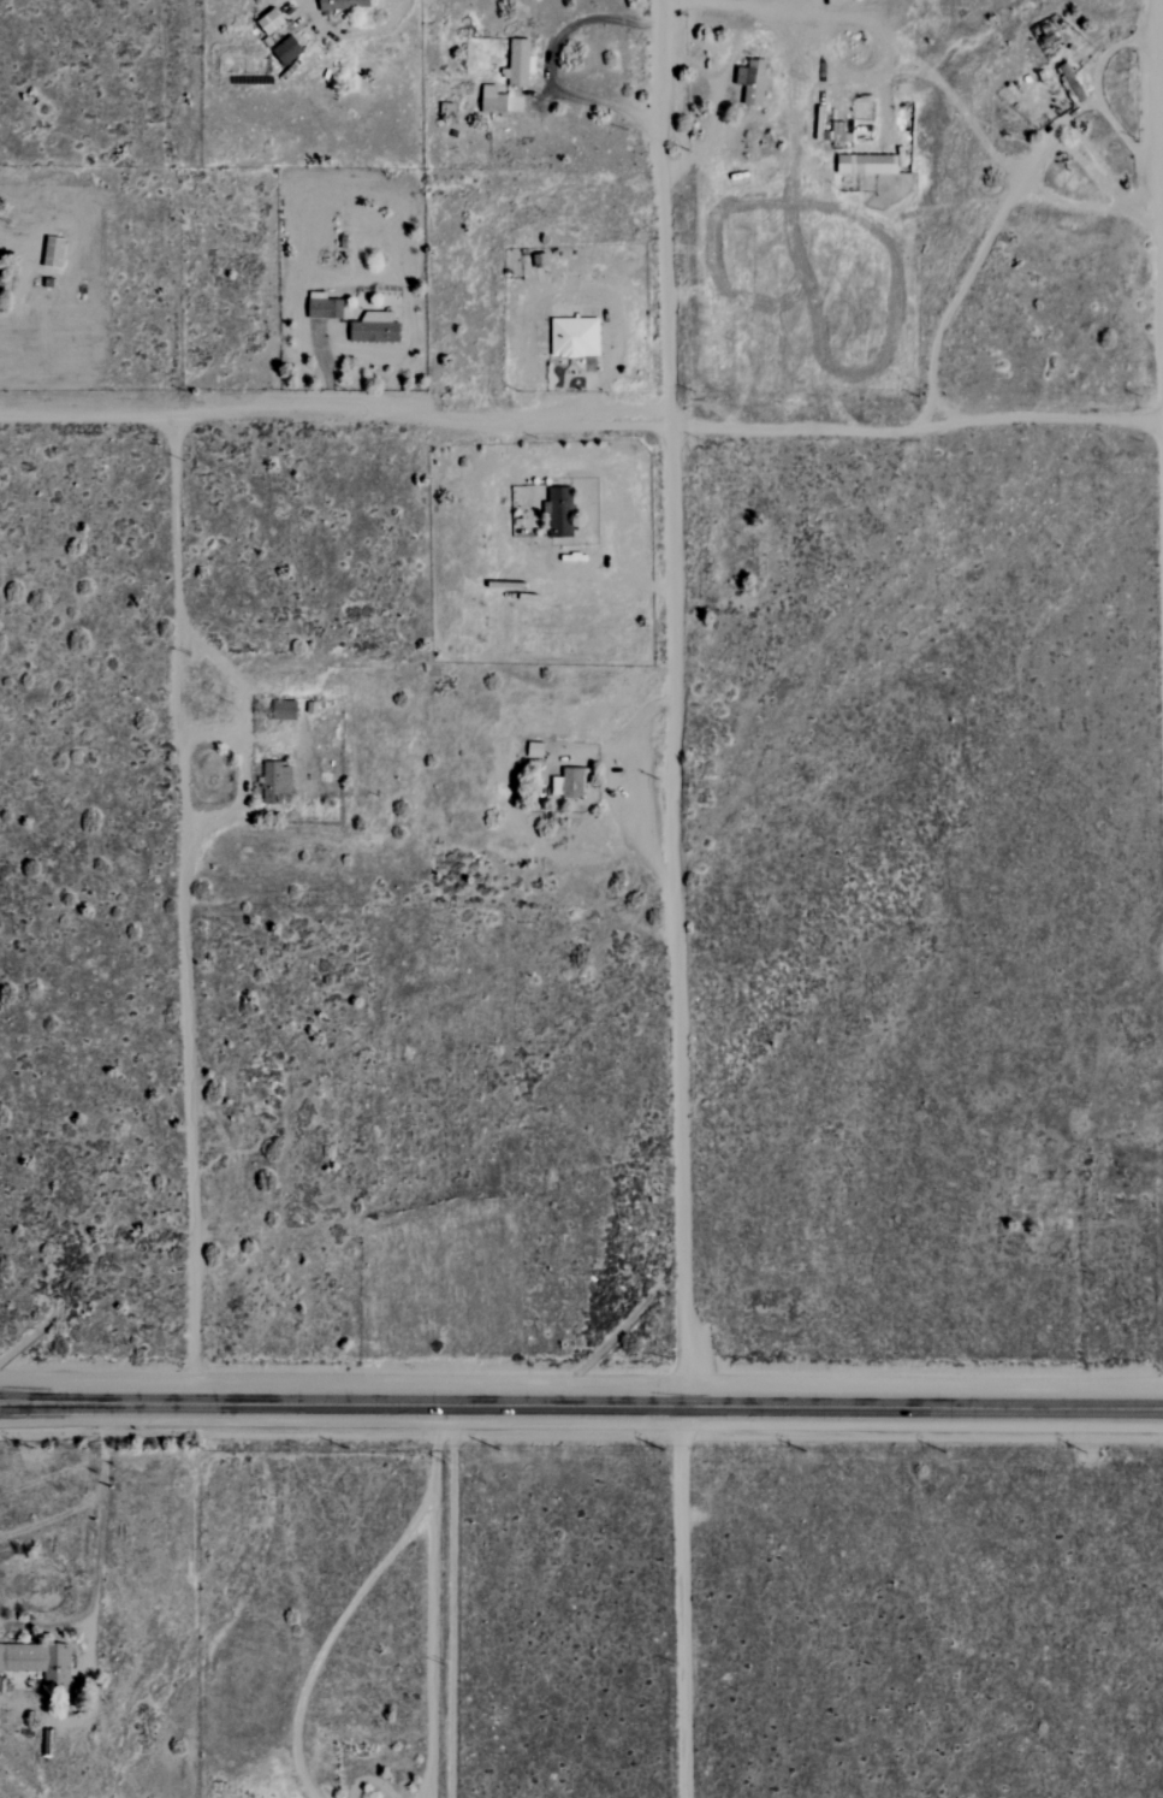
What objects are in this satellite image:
road: (742, 1)
building: (342, 5)
building: (269, 23)
road: (349, 32)
building: (286, 51)
road: (551, 61)
building: (517, 64)
building: (752, 82)
building: (1070, 83)
road: (1094, 91)
building: (492, 101)
road: (718, 108)
road: (1161, 124)
building: (866, 165)
road: (980, 248)
building: (52, 252)
road: (24, 277)
building: (574, 337)
road: (325, 371)
road: (586, 392)
road: (582, 419)
road: (606, 479)
building: (558, 513)
road: (522, 562)
road: (674, 703)
building: (283, 710)
road: (213, 737)
road: (265, 738)
road: (243, 739)
road: (604, 781)
building: (569, 782)
building: (275, 783)
road: (185, 911)
road: (581, 1407)
road: (435, 1453)
road: (97, 1555)
road: (452, 1602)
road: (683, 1602)
road: (331, 1637)
road: (433, 1649)
building: (38, 1661)

